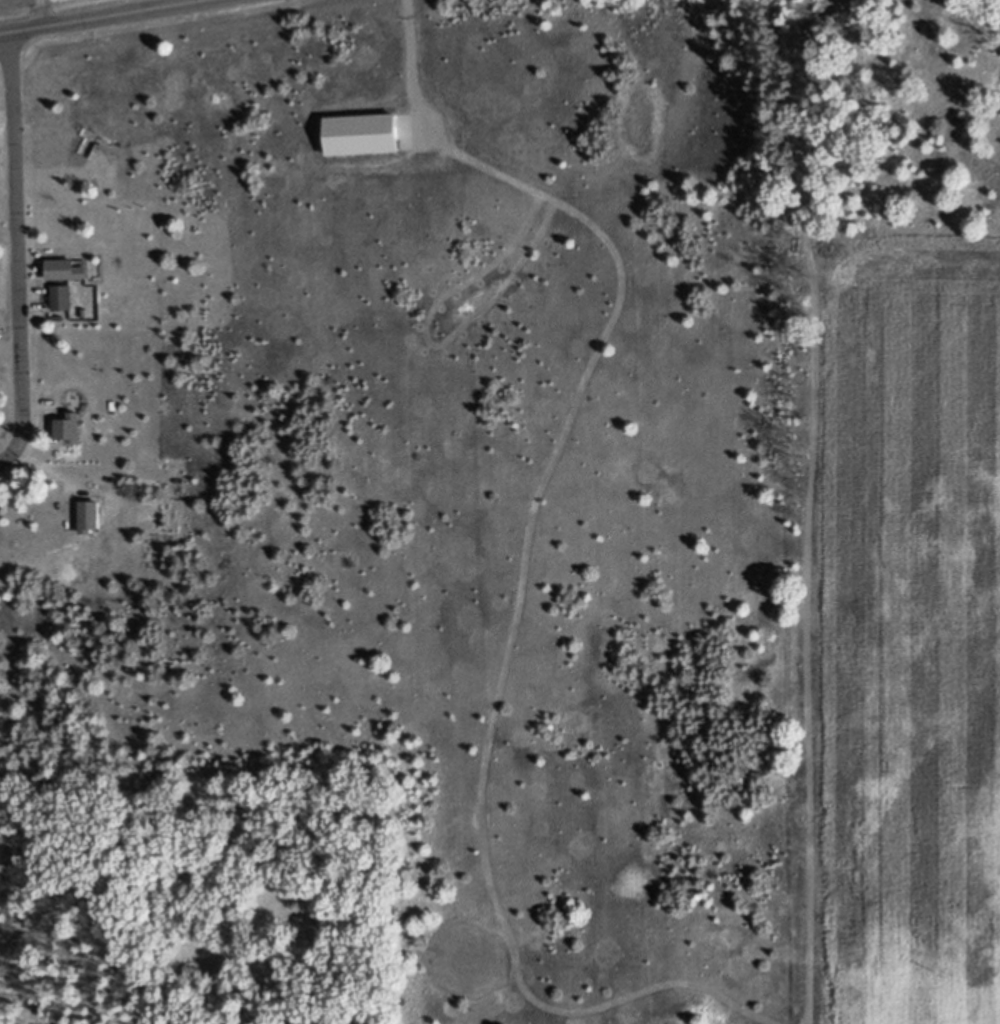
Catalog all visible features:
road: (109, 17)
road: (407, 46)
road: (15, 253)
building: (69, 278)
building: (63, 306)
building: (71, 437)
building: (93, 526)

